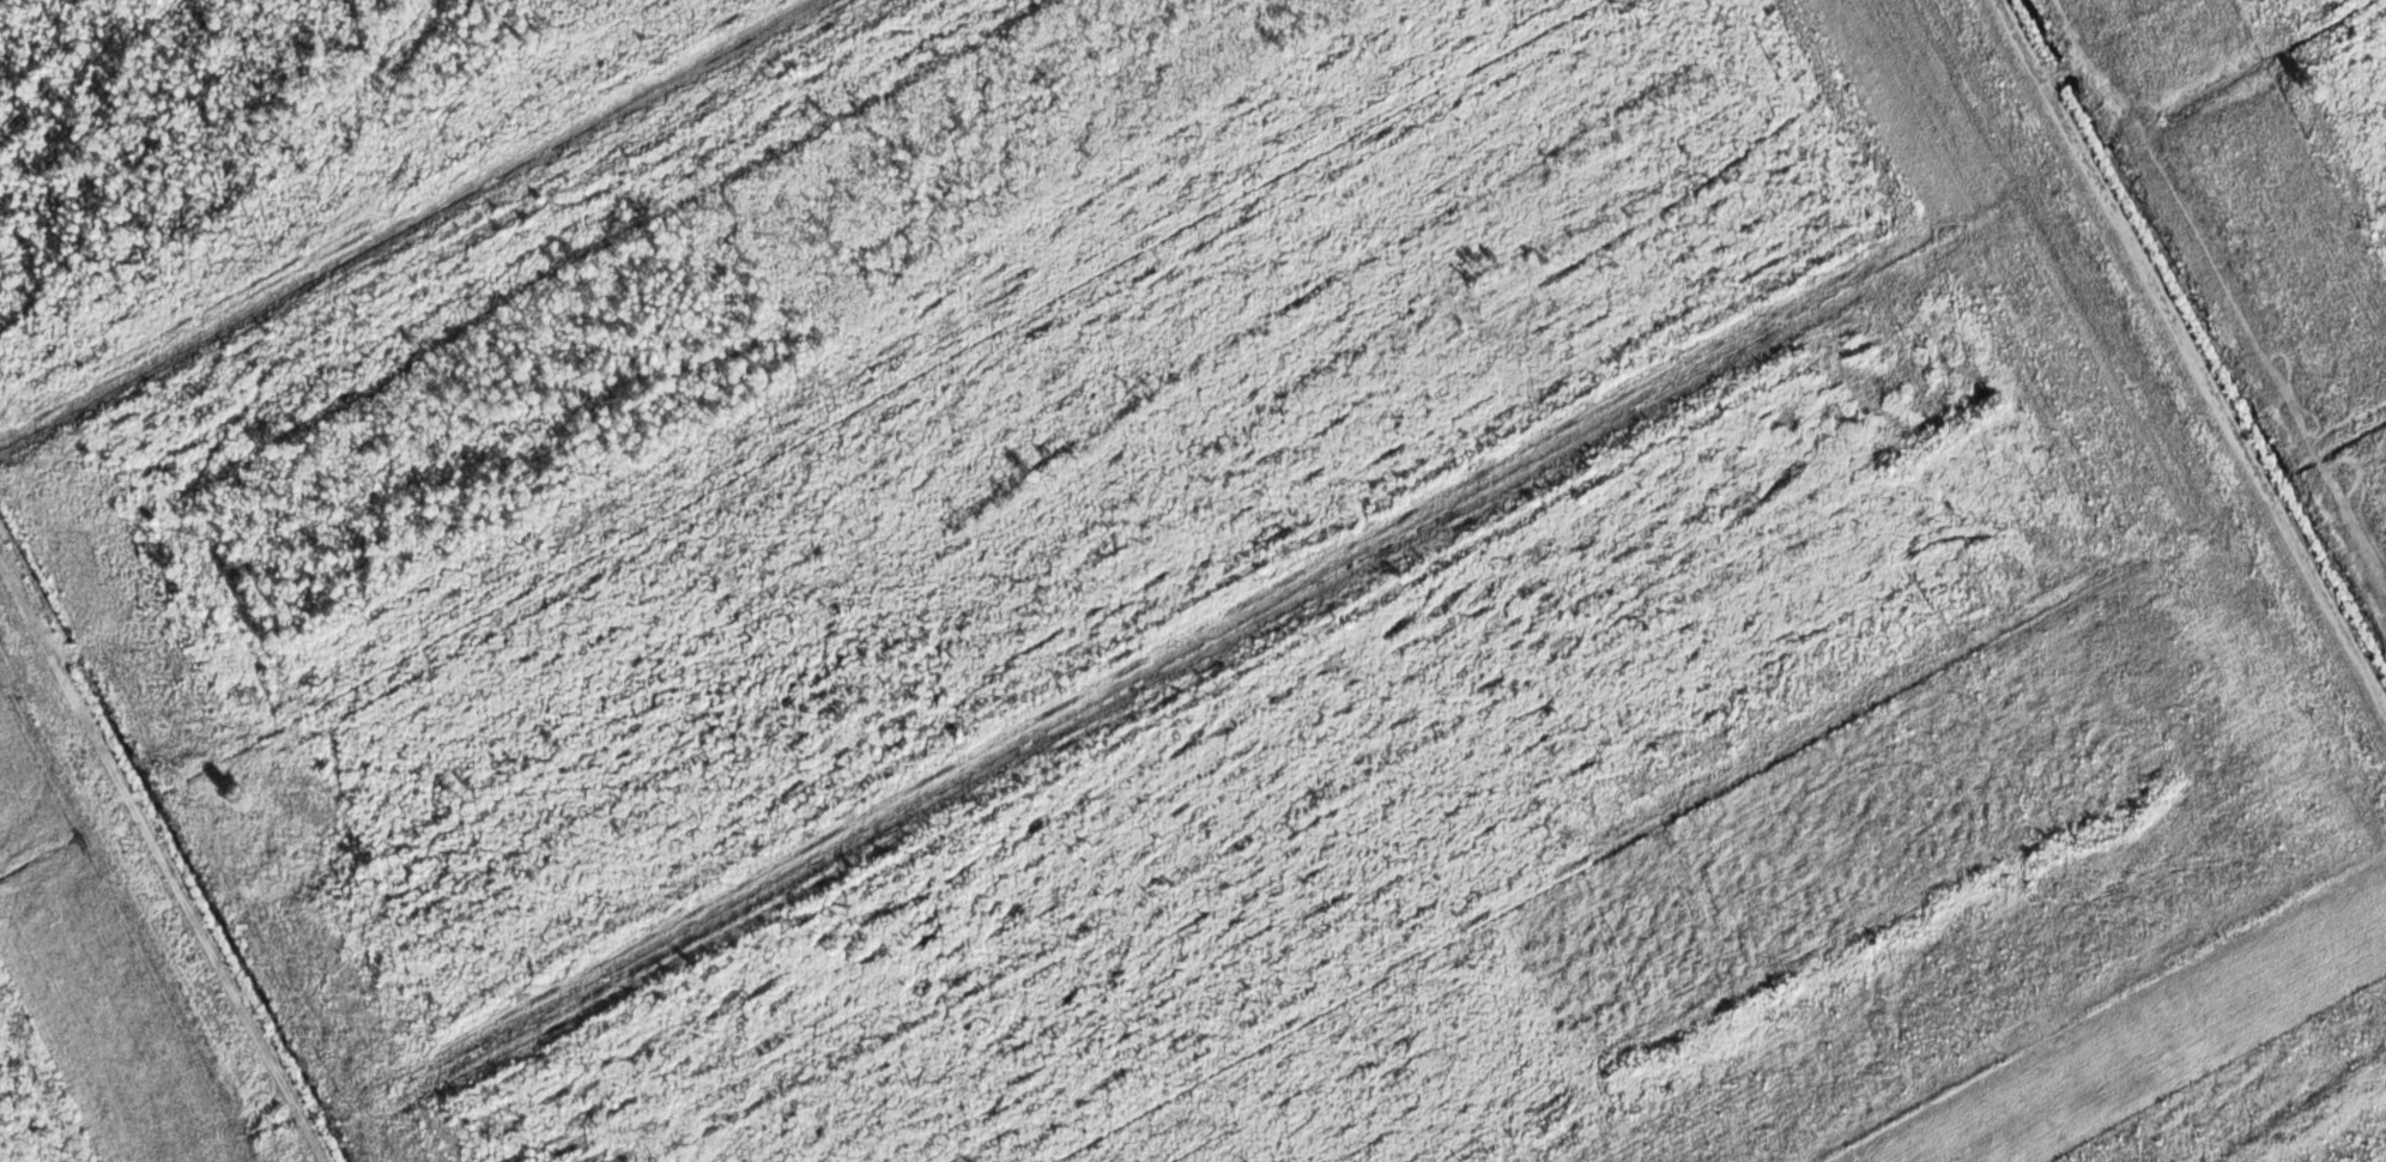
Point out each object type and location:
road: (2158, 408)
road: (128, 957)

